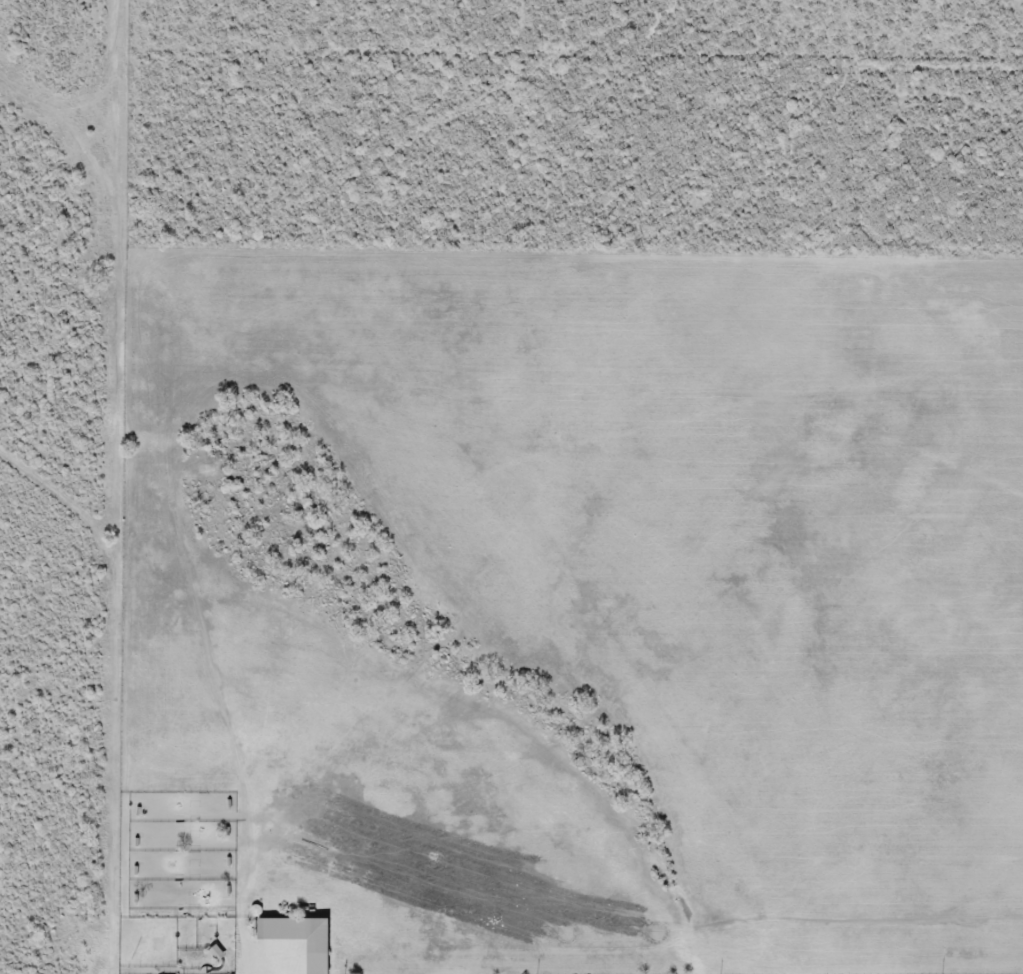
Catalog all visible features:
building: (295, 939)

